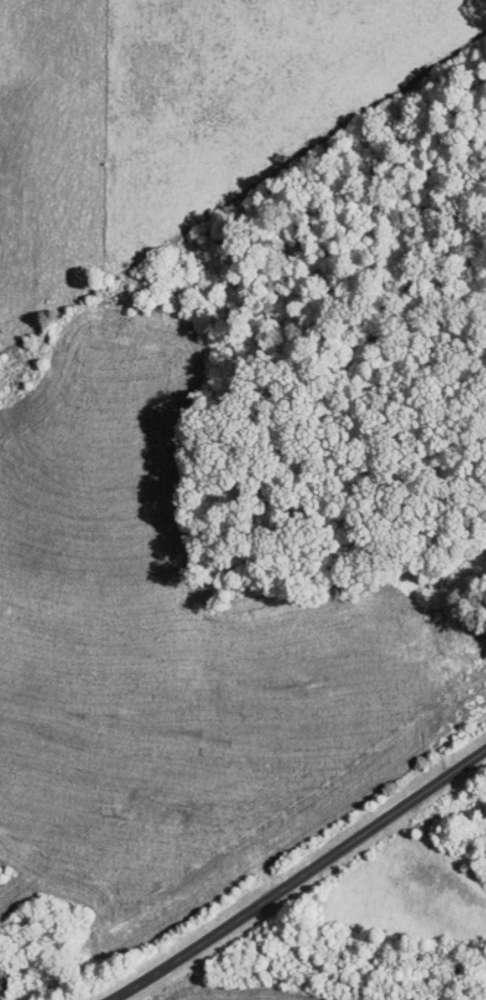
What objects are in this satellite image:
road: (300, 877)

